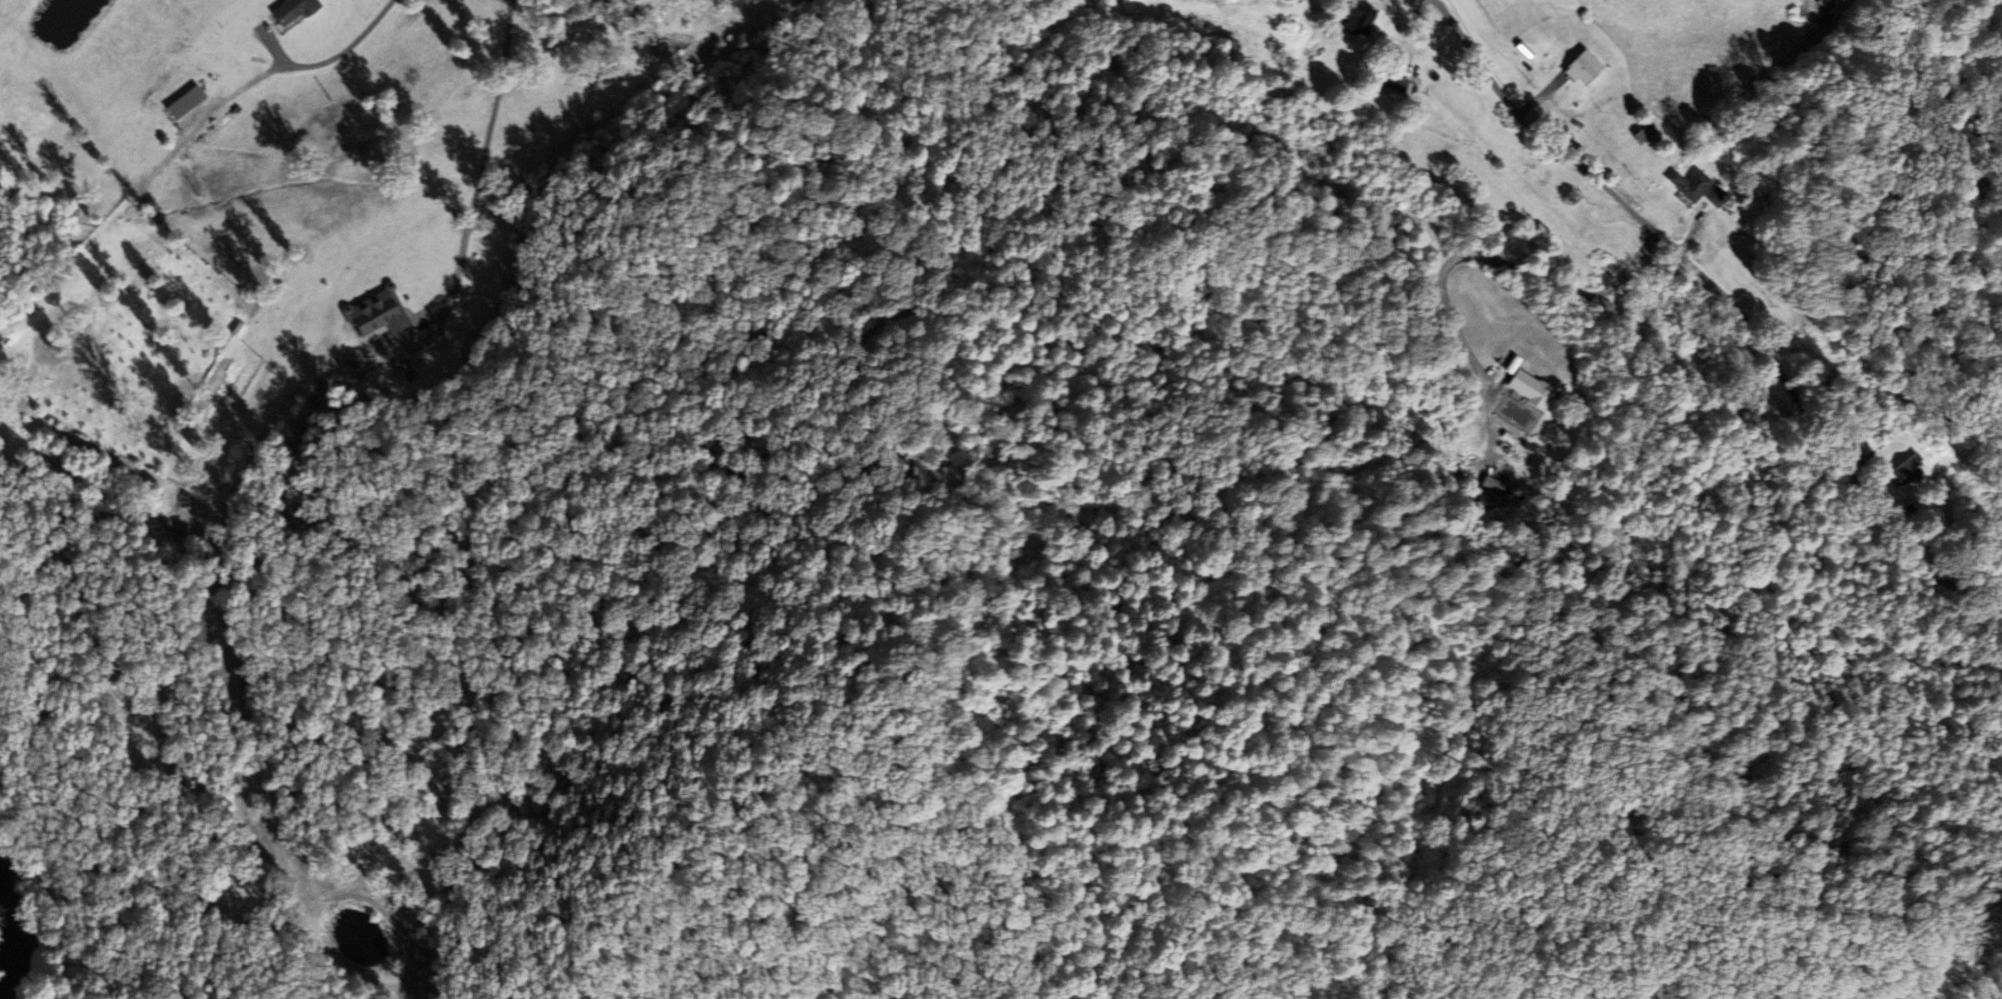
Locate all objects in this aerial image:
building: (298, 10)
building: (1361, 20)
building: (1587, 68)
building: (190, 101)
building: (1693, 184)
building: (1718, 196)
road: (1729, 298)
building: (386, 316)
building: (1533, 389)
river: (4, 918)

